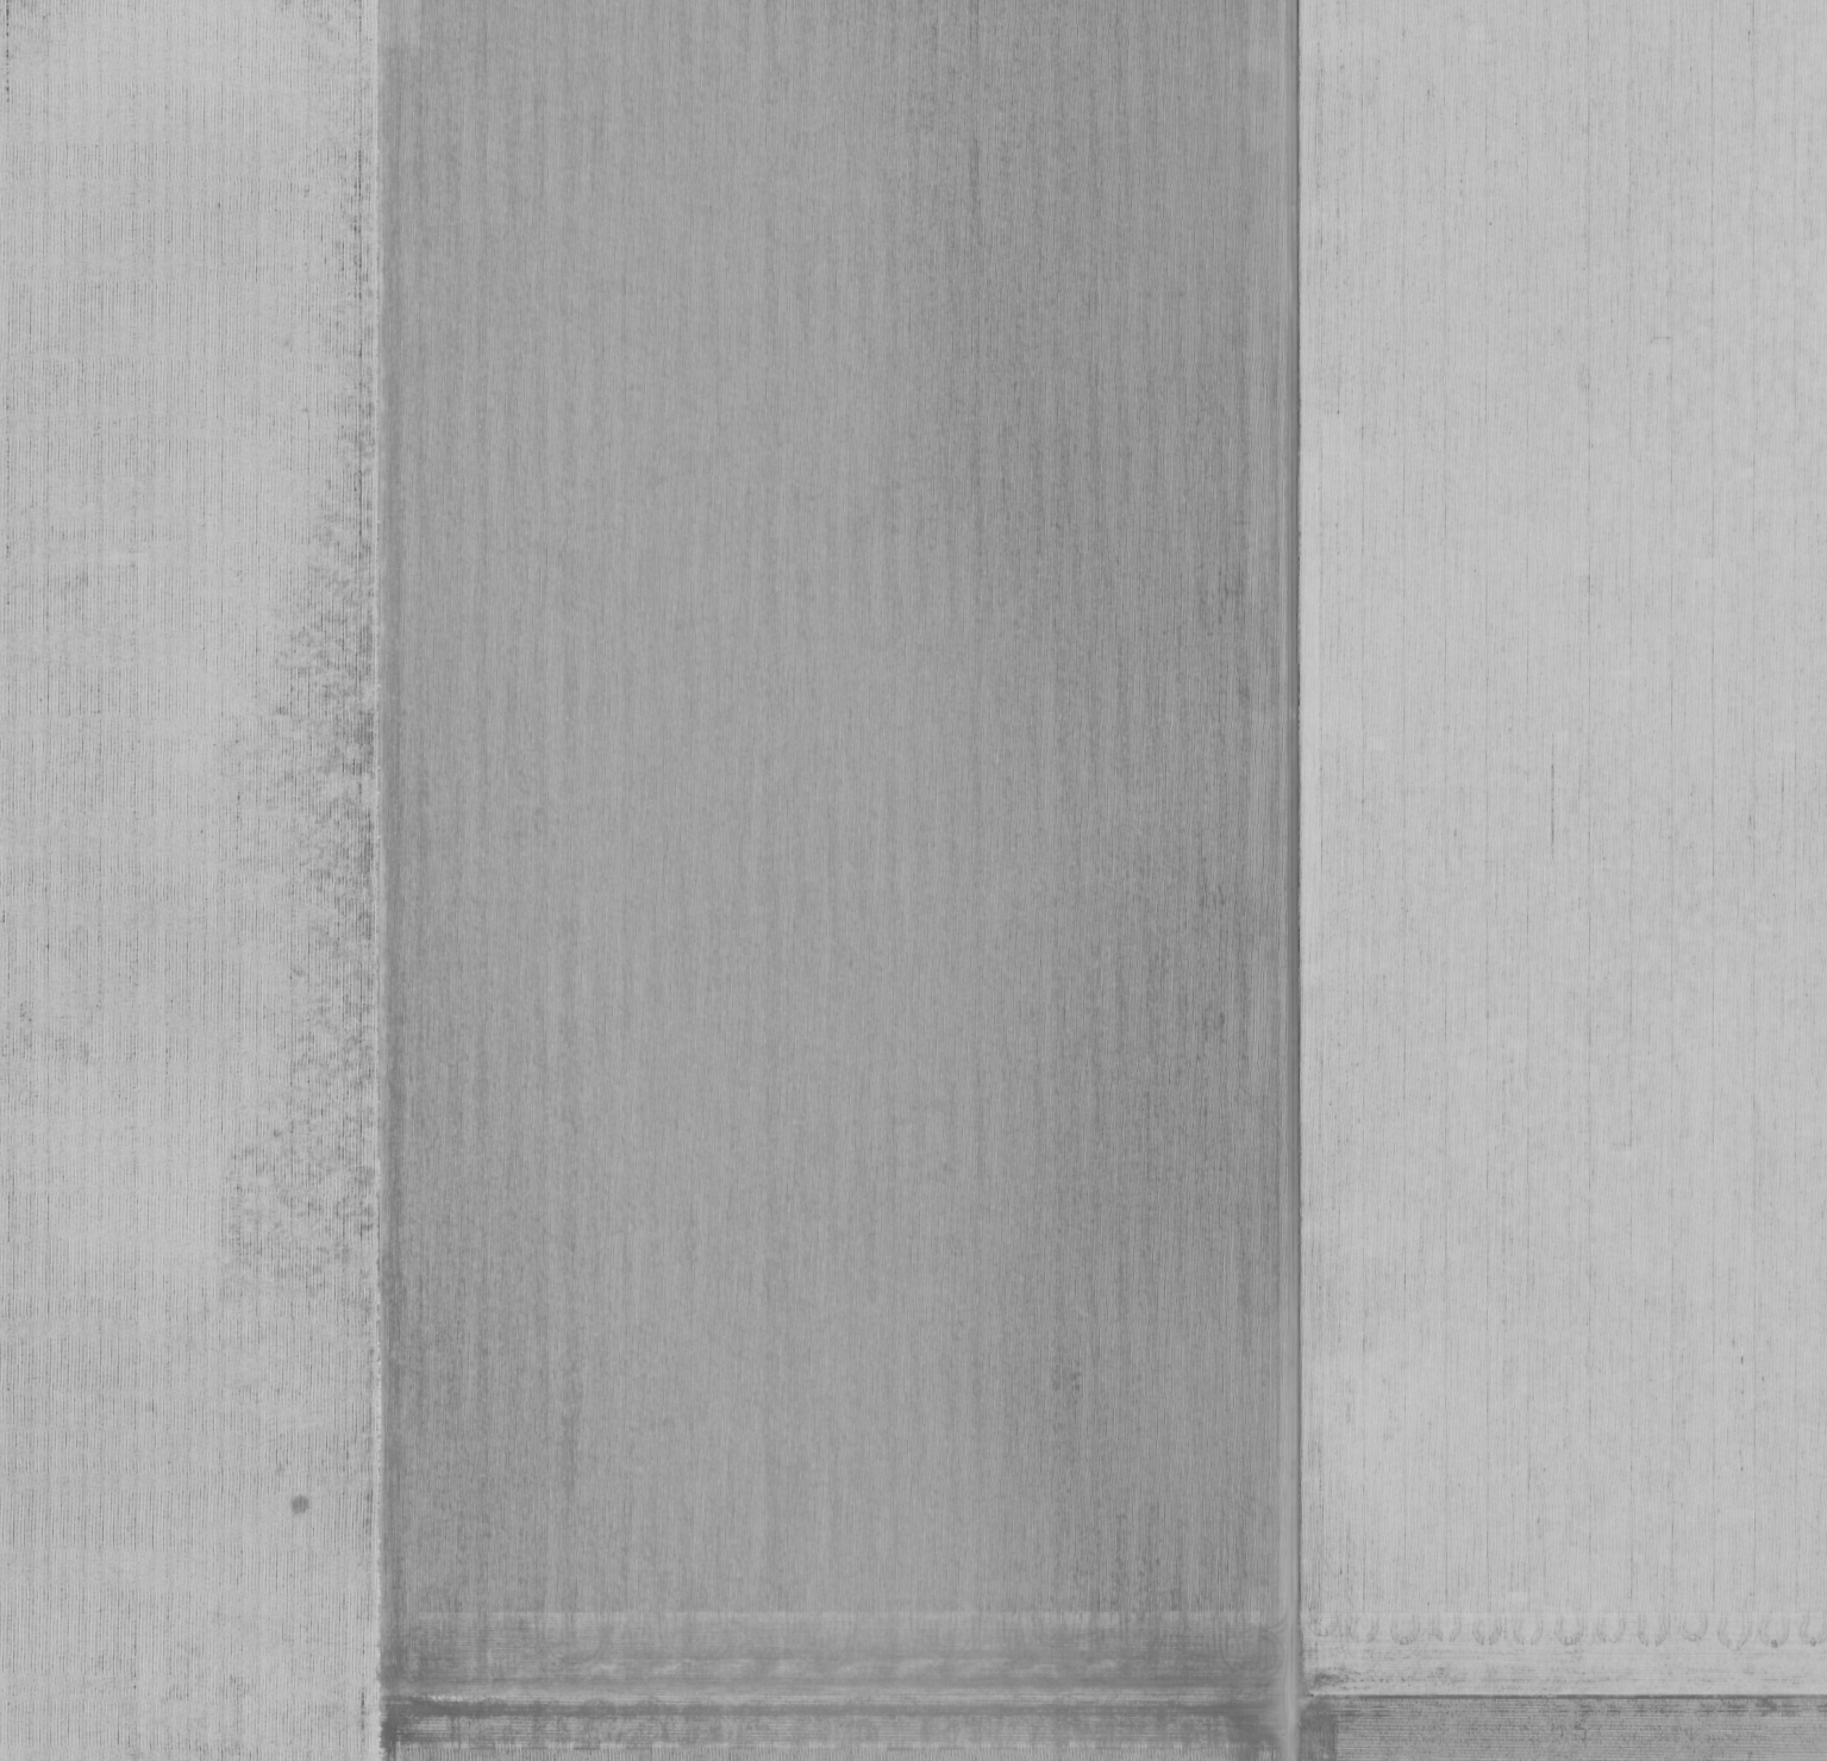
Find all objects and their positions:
road: (1308, 880)

